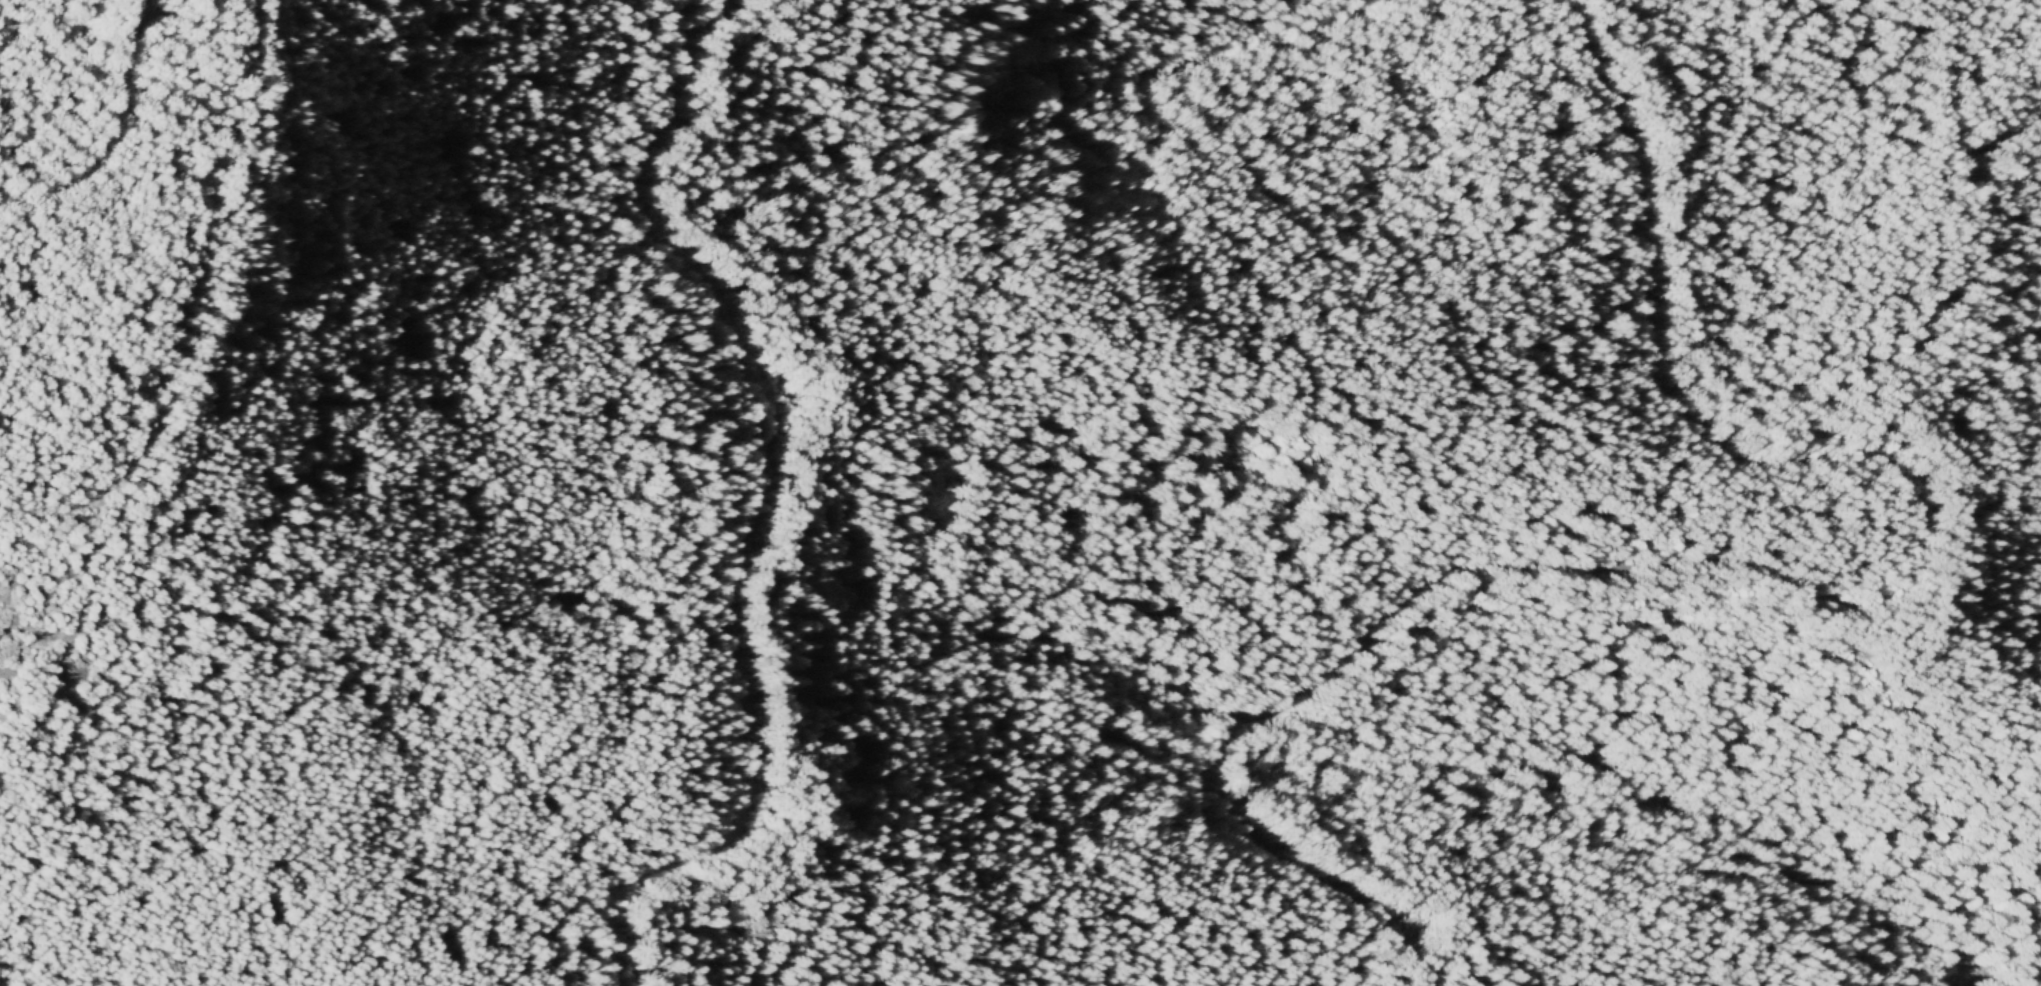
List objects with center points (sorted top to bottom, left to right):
road: (83, 107)

